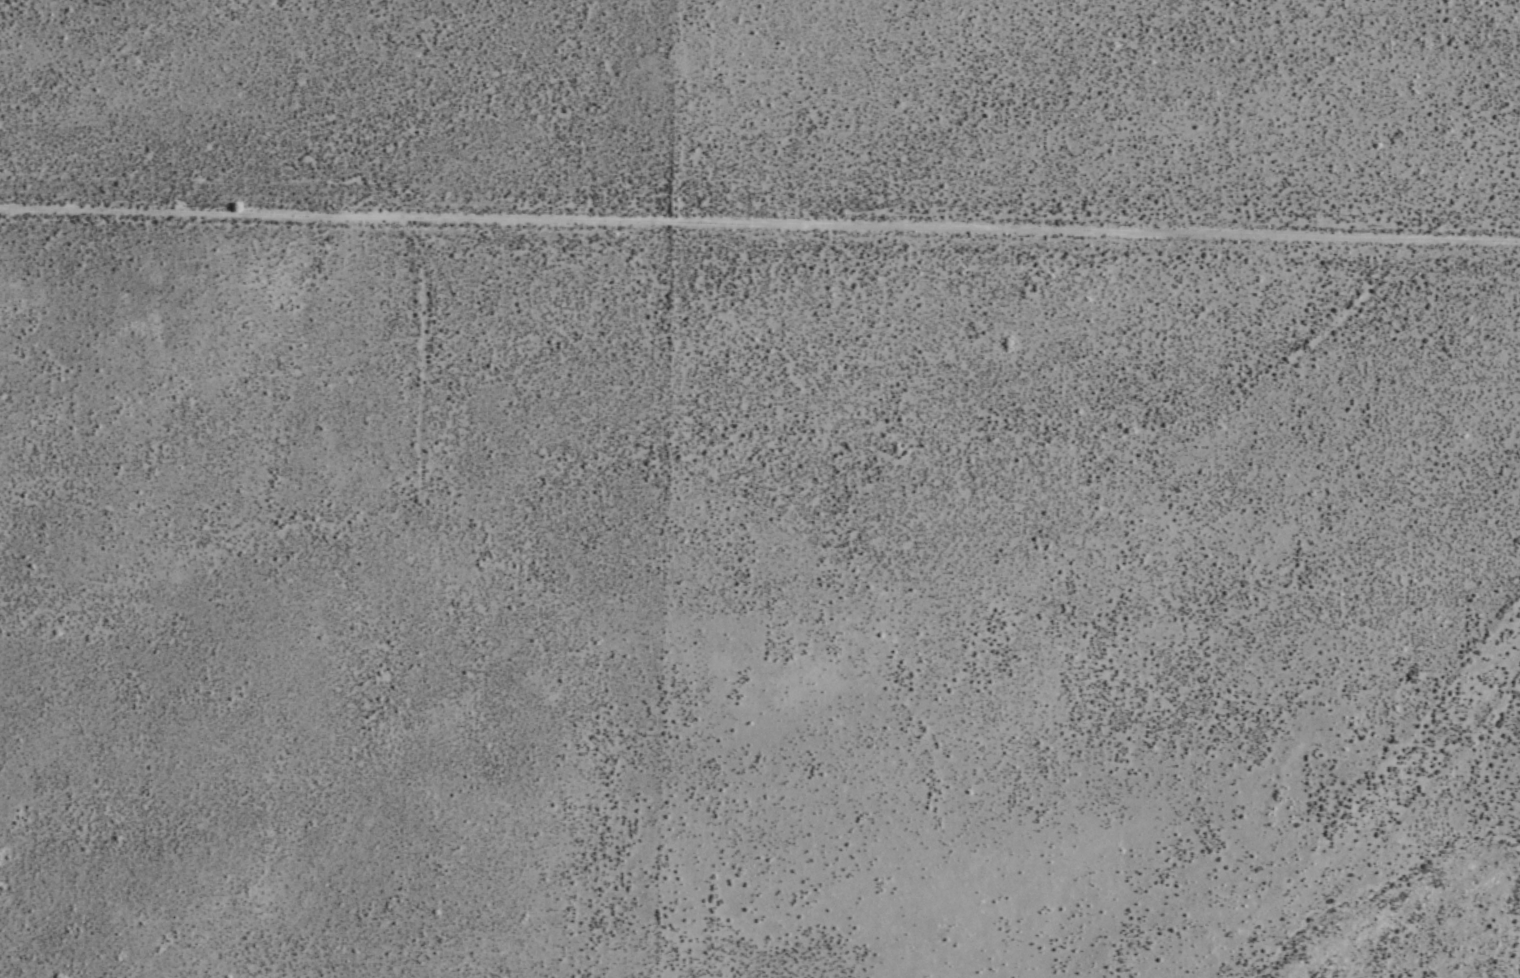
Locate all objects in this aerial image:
road: (760, 221)
crop: (826, 516)

